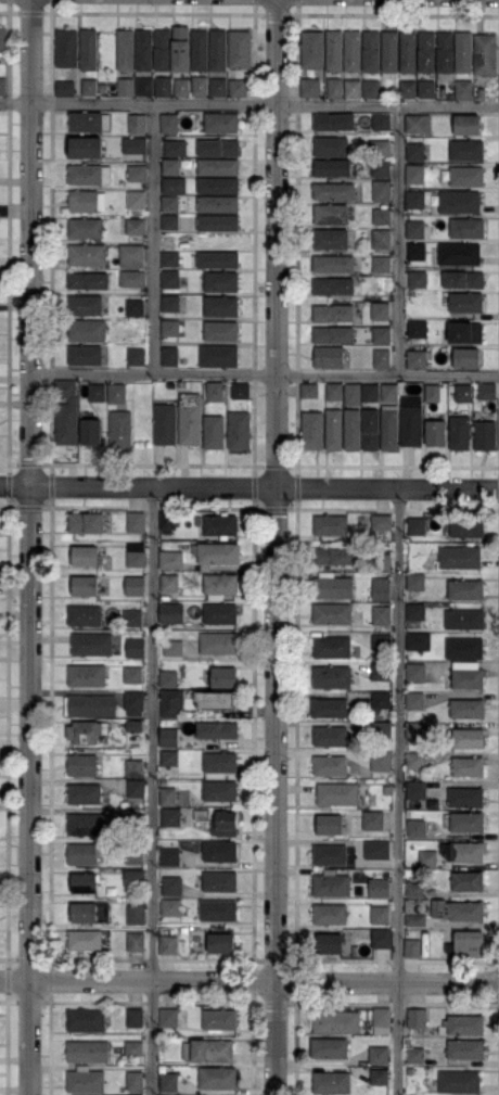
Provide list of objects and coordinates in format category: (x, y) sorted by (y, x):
building: (3, 41)
building: (67, 49)
building: (89, 49)
building: (126, 49)
building: (182, 49)
building: (240, 49)
building: (144, 50)
building: (164, 50)
building: (200, 50)
building: (218, 51)
building: (312, 51)
building: (334, 51)
building: (353, 51)
building: (371, 51)
building: (409, 52)
building: (426, 52)
building: (463, 52)
building: (389, 54)
building: (485, 54)
building: (445, 55)
building: (3, 86)
building: (144, 86)
building: (164, 86)
building: (200, 86)
building: (90, 87)
building: (126, 87)
building: (182, 87)
building: (218, 87)
building: (65, 88)
building: (238, 88)
building: (310, 88)
building: (335, 88)
building: (353, 88)
building: (371, 88)
building: (426, 88)
building: (408, 89)
building: (464, 89)
road: (250, 102)
building: (89, 122)
building: (334, 122)
building: (381, 123)
building: (137, 124)
building: (170, 124)
building: (221, 124)
building: (414, 124)
building: (468, 125)
building: (388, 144)
building: (135, 145)
building: (332, 147)
building: (85, 148)
building: (218, 148)
building: (176, 149)
building: (465, 150)
building: (415, 151)
building: (171, 167)
building: (219, 167)
building: (333, 167)
building: (381, 167)
building: (137, 173)
building: (89, 175)
building: (415, 175)
building: (466, 176)
building: (174, 184)
building: (218, 186)
building: (333, 191)
building: (382, 191)
building: (137, 200)
building: (415, 200)
building: (87, 201)
building: (459, 202)
building: (170, 204)
building: (218, 204)
building: (331, 214)
building: (381, 217)
building: (169, 221)
building: (218, 222)
building: (131, 227)
building: (85, 228)
building: (466, 228)
building: (415, 229)
road: (155, 238)
building: (382, 239)
road: (398, 239)
building: (332, 240)
building: (417, 252)
building: (87, 254)
building: (459, 254)
building: (131, 256)
building: (170, 258)
building: (217, 260)
building: (333, 264)
building: (381, 265)
building: (132, 279)
building: (170, 279)
building: (418, 279)
building: (463, 279)
building: (90, 281)
building: (221, 281)
building: (332, 285)
building: (412, 293)
building: (465, 302)
building: (170, 304)
building: (85, 305)
building: (133, 306)
building: (221, 306)
building: (380, 310)
building: (333, 314)
building: (170, 328)
building: (418, 329)
building: (87, 330)
building: (221, 331)
building: (465, 332)
building: (382, 334)
building: (334, 335)
building: (85, 355)
building: (137, 356)
building: (169, 356)
building: (218, 356)
building: (329, 357)
building: (466, 357)
building: (382, 359)
building: (418, 359)
road: (264, 373)
building: (181, 384)
building: (171, 385)
building: (215, 391)
building: (241, 391)
building: (310, 391)
building: (97, 392)
building: (333, 392)
building: (487, 392)
building: (371, 393)
building: (389, 393)
building: (432, 393)
building: (463, 393)
building: (117, 394)
building: (351, 395)
building: (67, 412)
building: (477, 415)
building: (191, 419)
building: (165, 424)
building: (411, 425)
building: (389, 428)
building: (120, 429)
building: (334, 430)
building: (353, 430)
building: (371, 430)
building: (91, 431)
building: (240, 431)
building: (314, 431)
building: (460, 432)
building: (214, 433)
building: (436, 433)
building: (486, 436)
road: (250, 487)
building: (167, 520)
building: (136, 522)
building: (86, 523)
building: (383, 524)
building: (221, 525)
building: (330, 525)
building: (417, 525)
building: (466, 526)
building: (135, 545)
road: (29, 547)
road: (276, 547)
building: (217, 556)
building: (333, 556)
building: (86, 557)
building: (459, 558)
building: (137, 559)
building: (172, 560)
building: (381, 563)
building: (415, 582)
building: (170, 584)
building: (86, 585)
building: (219, 585)
building: (132, 586)
building: (333, 586)
building: (381, 589)
building: (466, 589)
building: (166, 597)
building: (172, 612)
building: (415, 612)
building: (333, 614)
building: (85, 615)
building: (219, 615)
building: (382, 615)
building: (133, 617)
building: (468, 619)
building: (381, 641)
building: (218, 642)
building: (417, 644)
building: (92, 645)
building: (174, 648)
building: (333, 648)
building: (463, 648)
building: (137, 649)
building: (381, 671)
building: (415, 673)
building: (132, 674)
building: (86, 675)
building: (465, 676)
building: (225, 677)
building: (332, 677)
building: (169, 679)
building: (210, 684)
building: (216, 700)
building: (381, 700)
building: (414, 701)
building: (133, 702)
building: (171, 702)
building: (90, 706)
building: (330, 709)
building: (468, 709)
building: (135, 727)
building: (381, 729)
building: (218, 730)
building: (414, 730)
building: (85, 731)
building: (330, 736)
building: (169, 737)
building: (468, 739)
building: (169, 759)
building: (381, 761)
building: (414, 761)
building: (219, 762)
building: (81, 765)
building: (330, 765)
building: (469, 766)
building: (133, 768)
building: (136, 789)
road: (151, 790)
building: (387, 790)
building: (417, 790)
building: (221, 791)
road: (398, 791)
building: (85, 794)
building: (337, 794)
building: (167, 798)
building: (468, 798)
building: (168, 816)
building: (374, 819)
building: (468, 822)
building: (137, 824)
building: (226, 824)
building: (87, 825)
building: (329, 825)
building: (417, 828)
building: (119, 832)
building: (379, 850)
building: (220, 851)
building: (464, 851)
building: (81, 853)
building: (135, 854)
building: (330, 855)
building: (170, 856)
building: (427, 860)
building: (386, 874)
building: (135, 878)
building: (217, 881)
building: (468, 881)
building: (85, 883)
building: (331, 883)
building: (172, 887)
building: (380, 888)
building: (414, 890)
building: (437, 907)
building: (171, 908)
building: (218, 911)
building: (464, 912)
building: (90, 913)
building: (330, 914)
building: (136, 915)
building: (380, 915)
building: (414, 920)
building: (162, 930)
building: (382, 939)
building: (85, 940)
building: (136, 941)
building: (220, 943)
building: (466, 944)
building: (168, 945)
building: (329, 945)
building: (413, 947)
road: (14, 979)
road: (264, 981)
building: (170, 1017)
building: (135, 1018)
building: (381, 1018)
building: (418, 1018)
building: (85, 1020)
building: (219, 1020)
building: (335, 1022)
building: (464, 1024)
building: (133, 1048)
building: (330, 1048)
building: (465, 1048)
building: (213, 1051)
building: (88, 1052)
building: (378, 1055)
building: (414, 1055)
building: (413, 1071)
building: (379, 1077)
building: (217, 1078)
building: (86, 1080)
building: (133, 1080)
building: (459, 1082)
building: (168, 1083)
building: (332, 1083)

